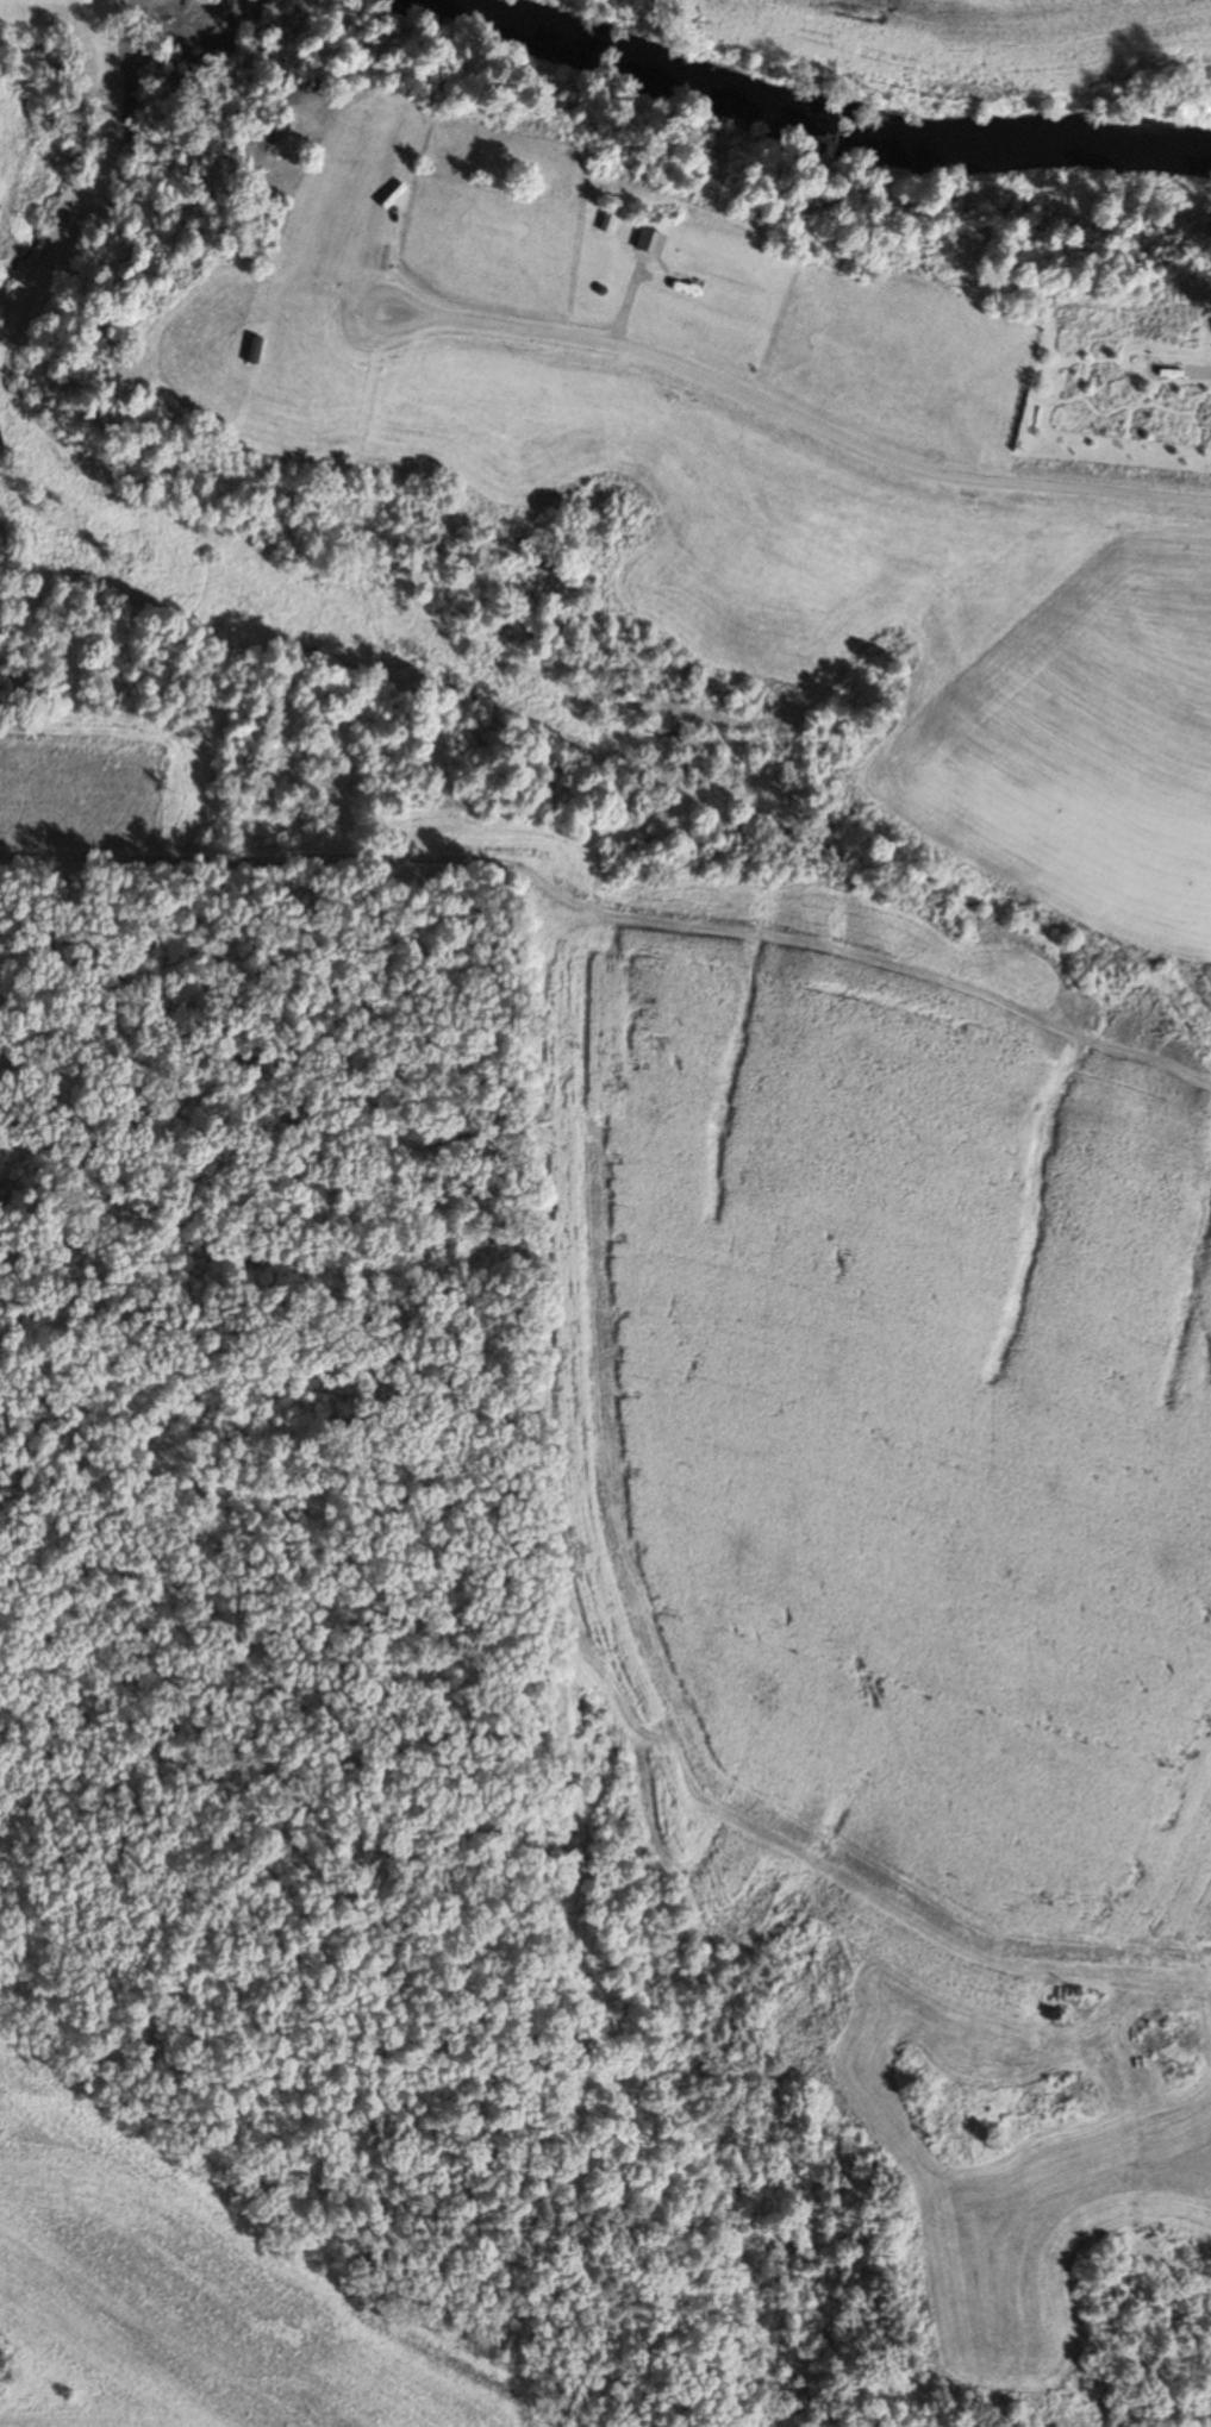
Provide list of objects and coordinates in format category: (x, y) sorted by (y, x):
river: (736, 117)

